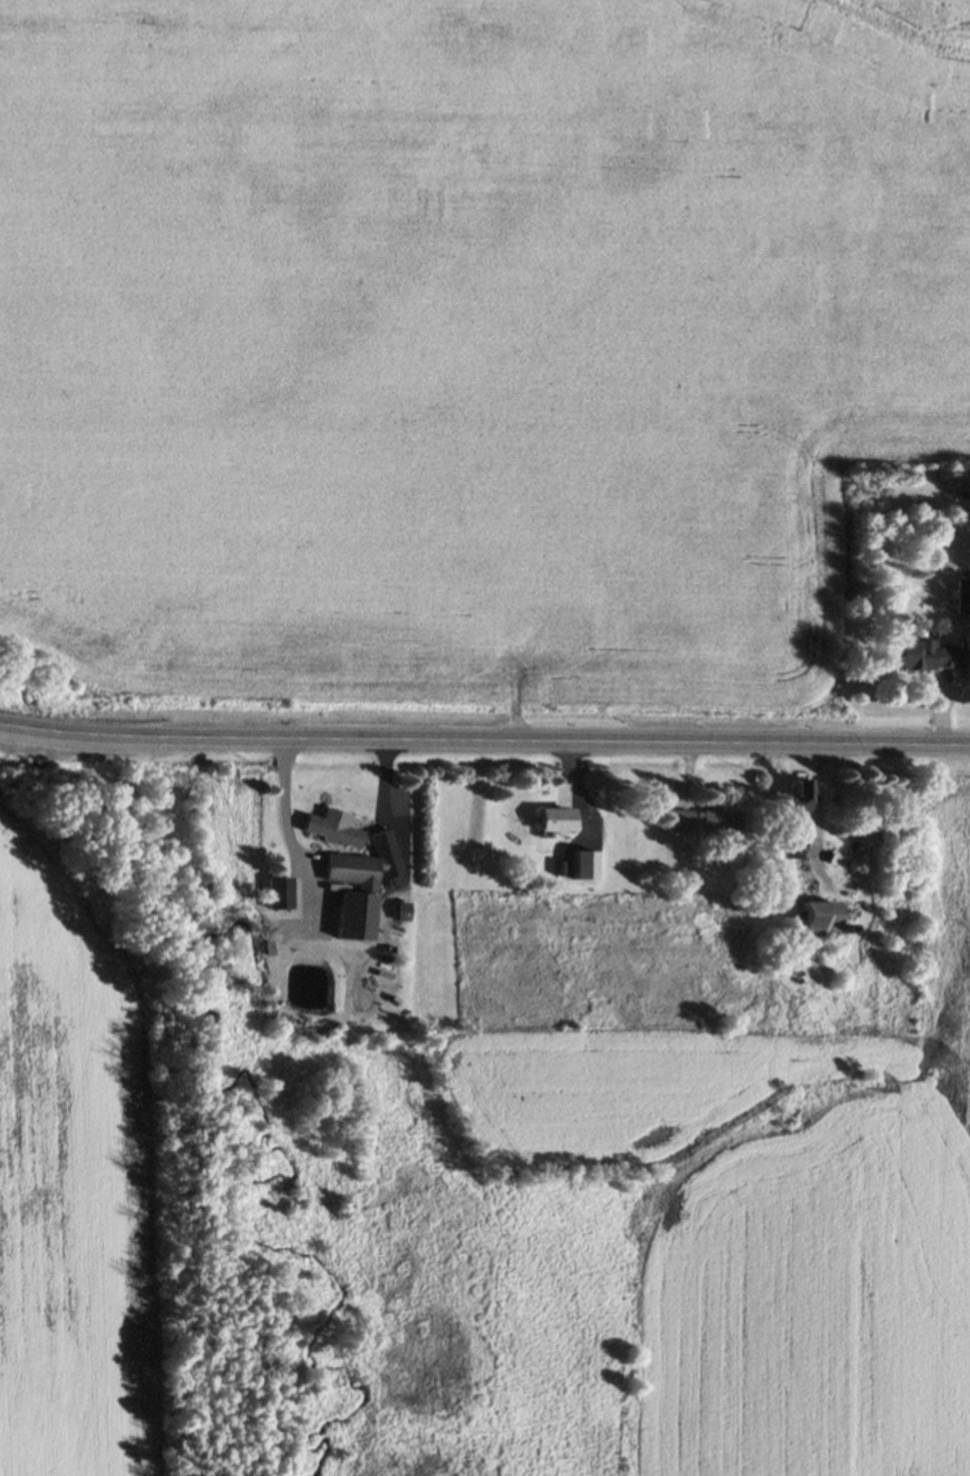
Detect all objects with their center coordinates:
building: (963, 599)
building: (924, 659)
road: (484, 743)
building: (800, 800)
building: (681, 821)
building: (557, 823)
building: (721, 824)
building: (334, 830)
road: (292, 841)
building: (778, 878)
building: (801, 881)
building: (363, 887)
building: (279, 896)
building: (816, 925)

